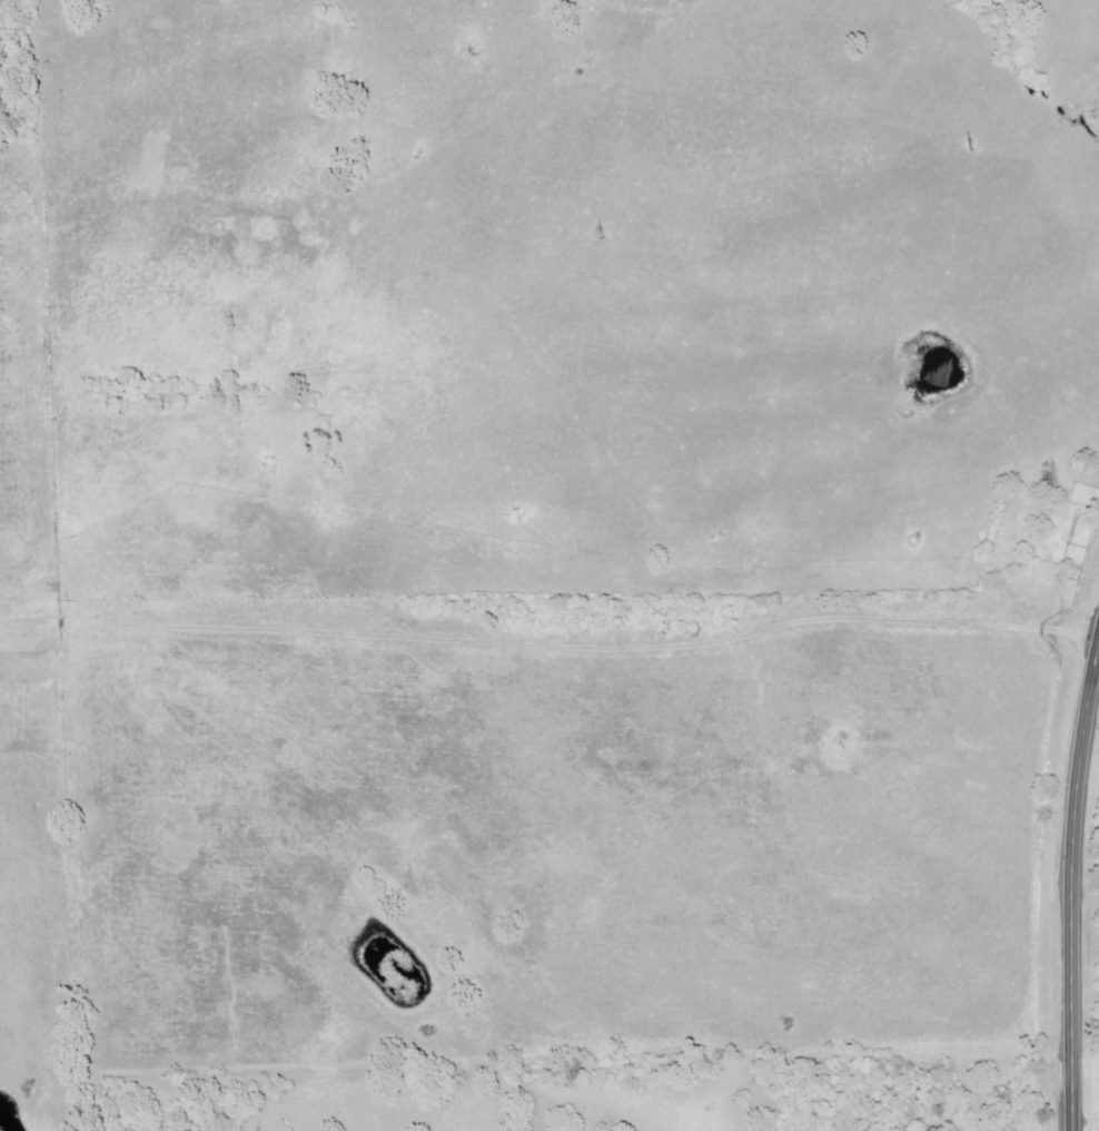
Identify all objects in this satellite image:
power tower: (966, 146)
power tower: (593, 235)
power tower: (229, 322)
road: (1072, 884)

